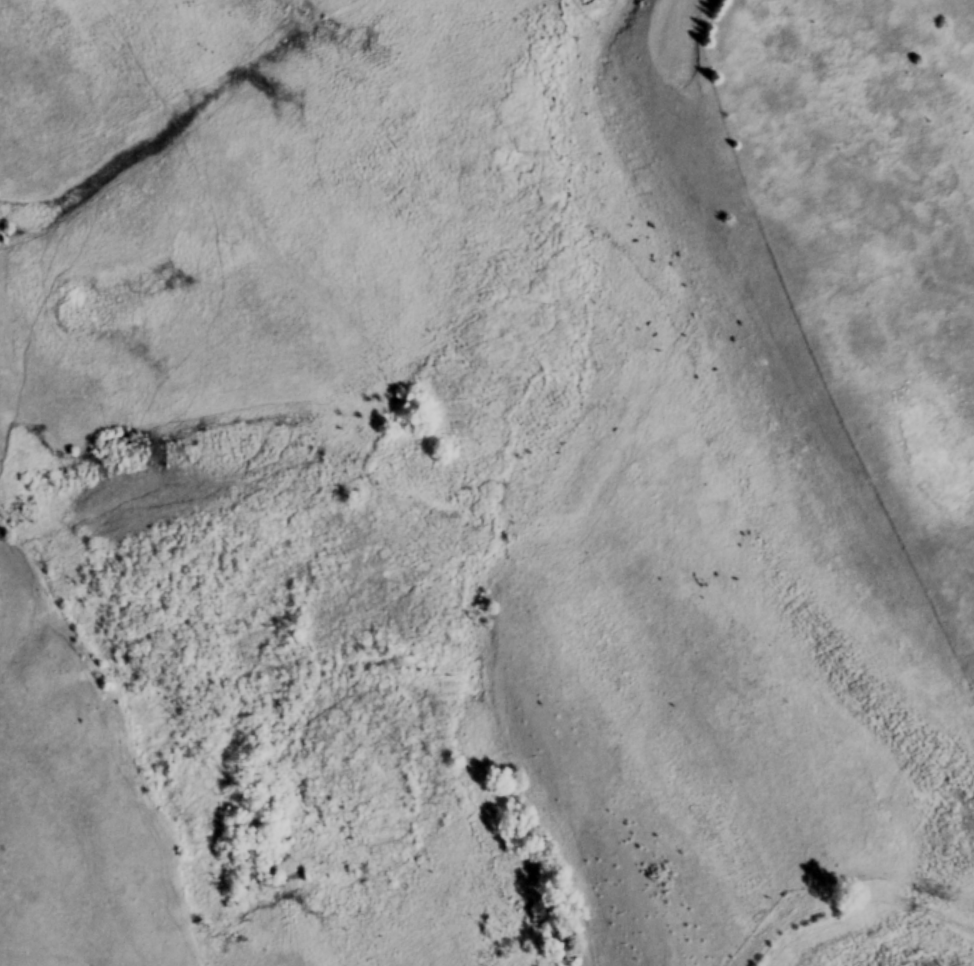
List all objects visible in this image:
road: (866, 912)
road: (756, 955)
road: (43, 957)

